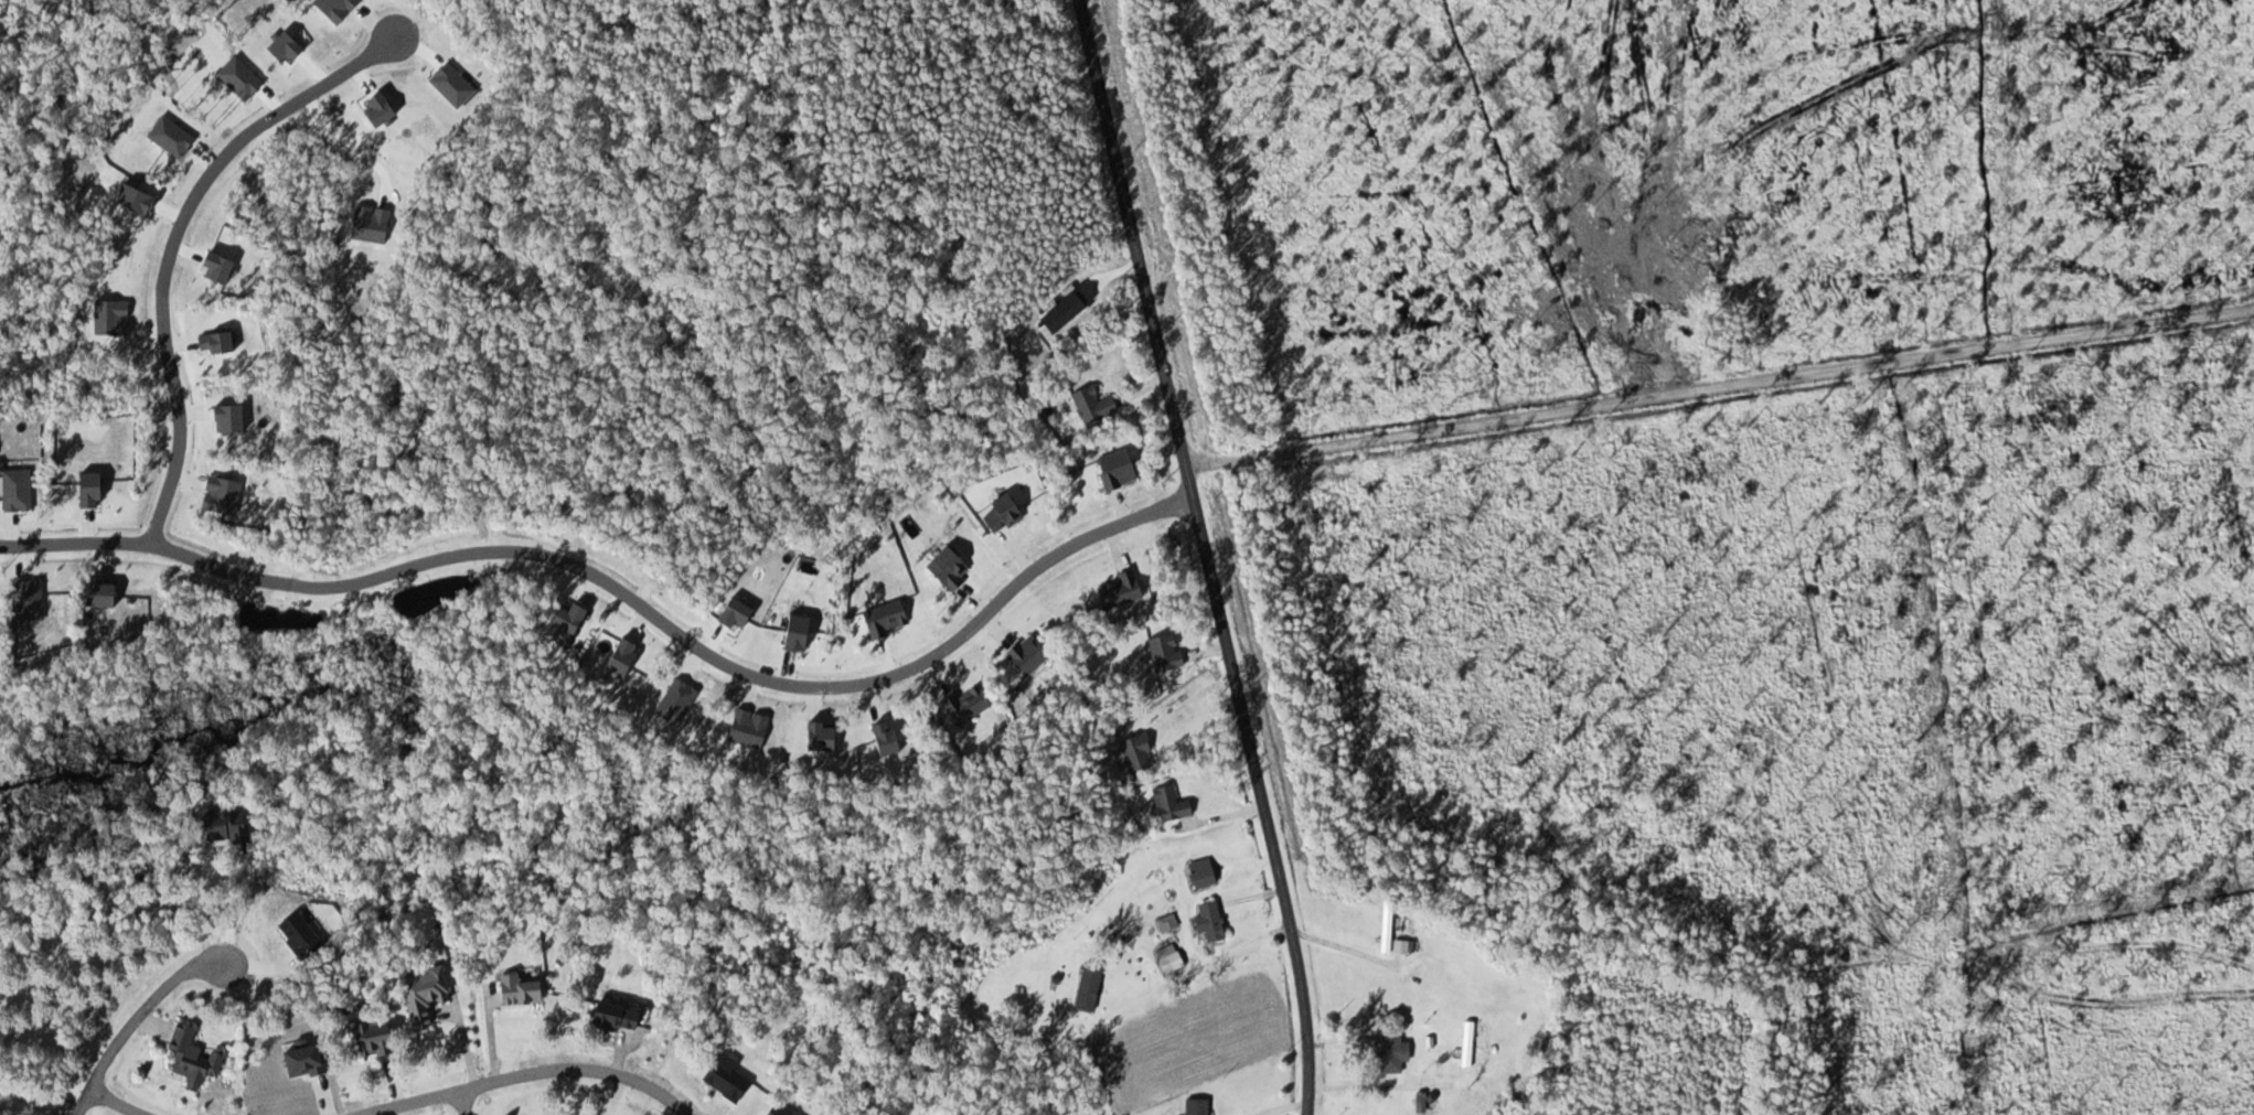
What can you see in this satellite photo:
road: (1726, 457)
road: (1206, 555)
building: (1199, 872)
building: (1207, 921)
building: (1385, 928)
building: (1167, 958)
building: (515, 989)
building: (420, 993)
building: (611, 1016)
road: (131, 1022)
building: (370, 1036)
building: (1465, 1043)
building: (1388, 1051)
building: (191, 1059)
road: (527, 1072)
road: (115, 1102)
road: (463, 1102)
building: (1193, 1106)
building: (779, 1109)

